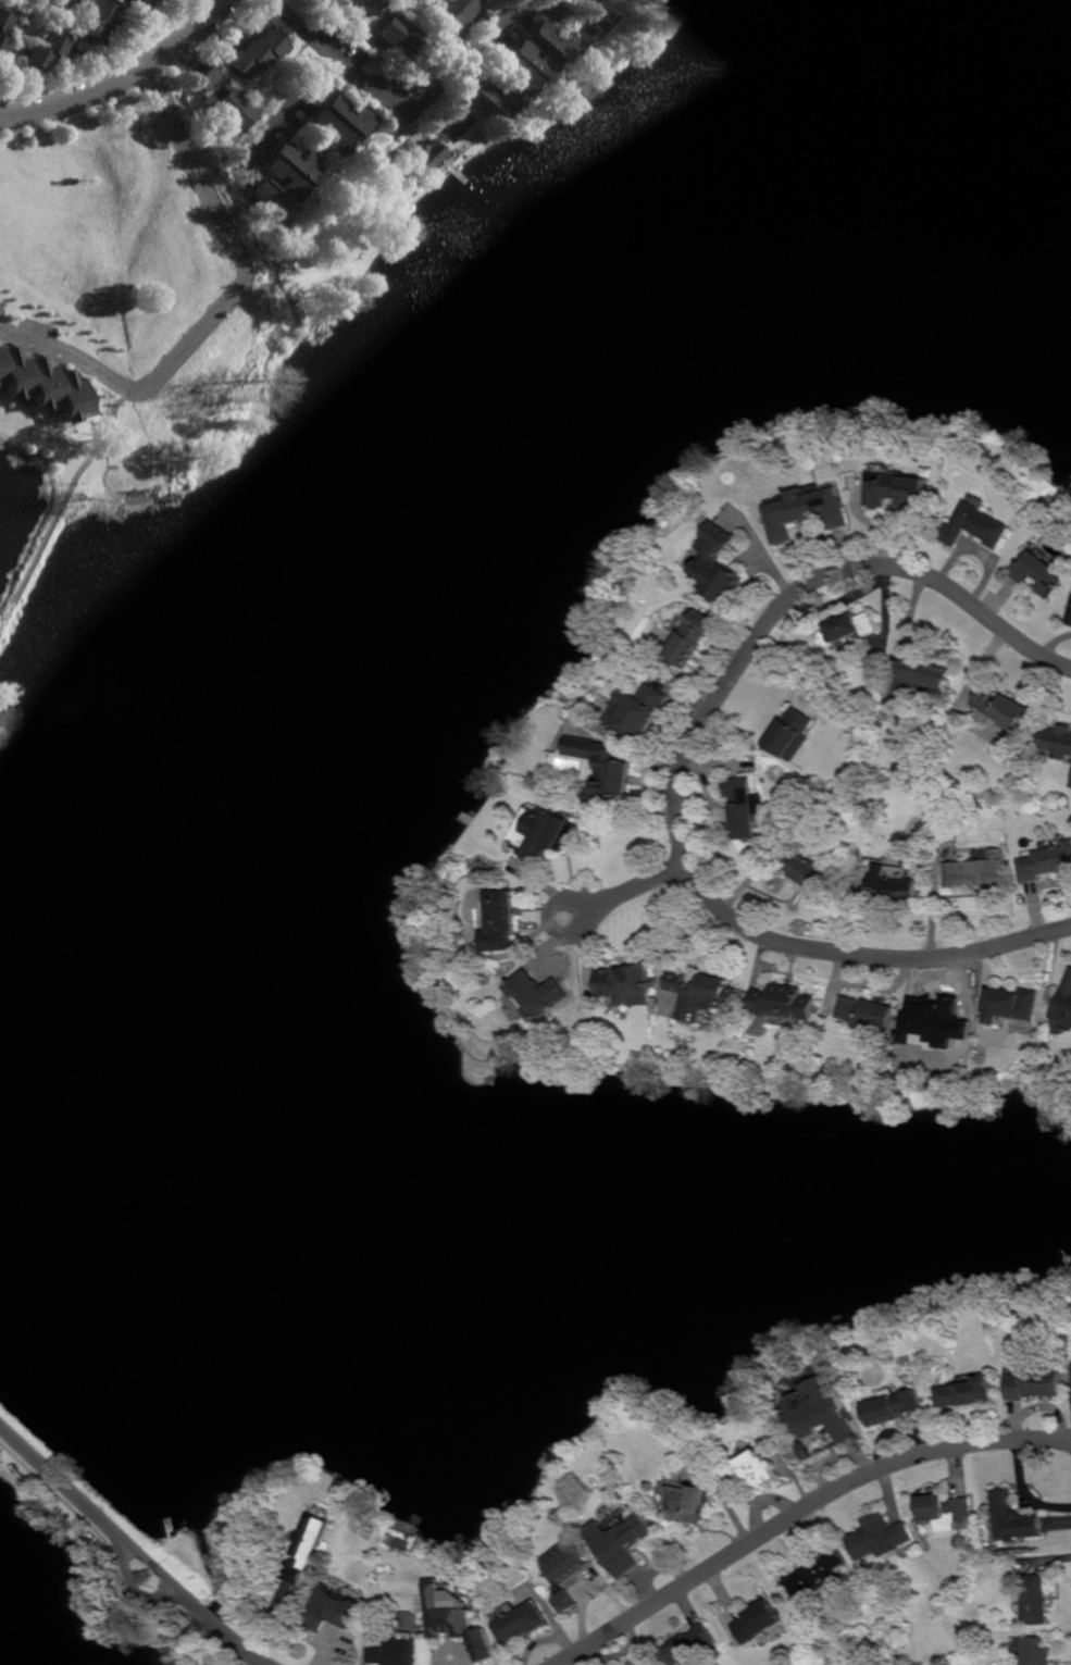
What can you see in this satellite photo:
building: (65, 1)
building: (126, 1)
building: (636, 2)
building: (144, 3)
building: (360, 7)
building: (452, 13)
building: (92, 21)
building: (3, 29)
building: (391, 35)
road: (491, 41)
building: (41, 52)
building: (253, 52)
road: (334, 59)
building: (520, 67)
road: (122, 77)
building: (203, 77)
road: (291, 108)
building: (228, 111)
building: (336, 122)
building: (420, 156)
road: (192, 164)
building: (279, 181)
building: (41, 384)
road: (144, 385)
building: (898, 492)
road: (64, 496)
building: (808, 512)
building: (976, 527)
building: (721, 566)
building: (1041, 574)
building: (1070, 622)
building: (849, 630)
building: (695, 641)
building: (849, 642)
building: (922, 680)
building: (1002, 712)
building: (640, 713)
building: (794, 736)
building: (1058, 743)
road: (681, 766)
building: (605, 772)
building: (1070, 784)
building: (745, 806)
building: (548, 834)
building: (1045, 862)
building: (976, 869)
building: (812, 871)
building: (894, 889)
road: (628, 891)
building: (501, 920)
road: (680, 953)
building: (630, 982)
building: (707, 987)
building: (538, 993)
building: (786, 1002)
building: (1010, 1004)
building: (1064, 1004)
building: (868, 1011)
building: (927, 1026)
building: (1037, 1386)
building: (968, 1395)
building: (893, 1409)
building: (823, 1412)
building: (757, 1475)
road: (61, 1480)
road: (1025, 1491)
building: (689, 1505)
road: (799, 1511)
building: (946, 1514)
building: (1014, 1520)
building: (879, 1538)
building: (308, 1546)
building: (624, 1546)
road: (157, 1566)
building: (565, 1573)
building: (815, 1574)
building: (147, 1576)
road: (138, 1588)
building: (1036, 1600)
building: (333, 1605)
building: (459, 1619)
building: (762, 1619)
building: (521, 1620)
road: (225, 1633)
building: (688, 1642)
building: (398, 1650)
building: (1037, 1650)
building: (186, 1661)
building: (642, 1663)

